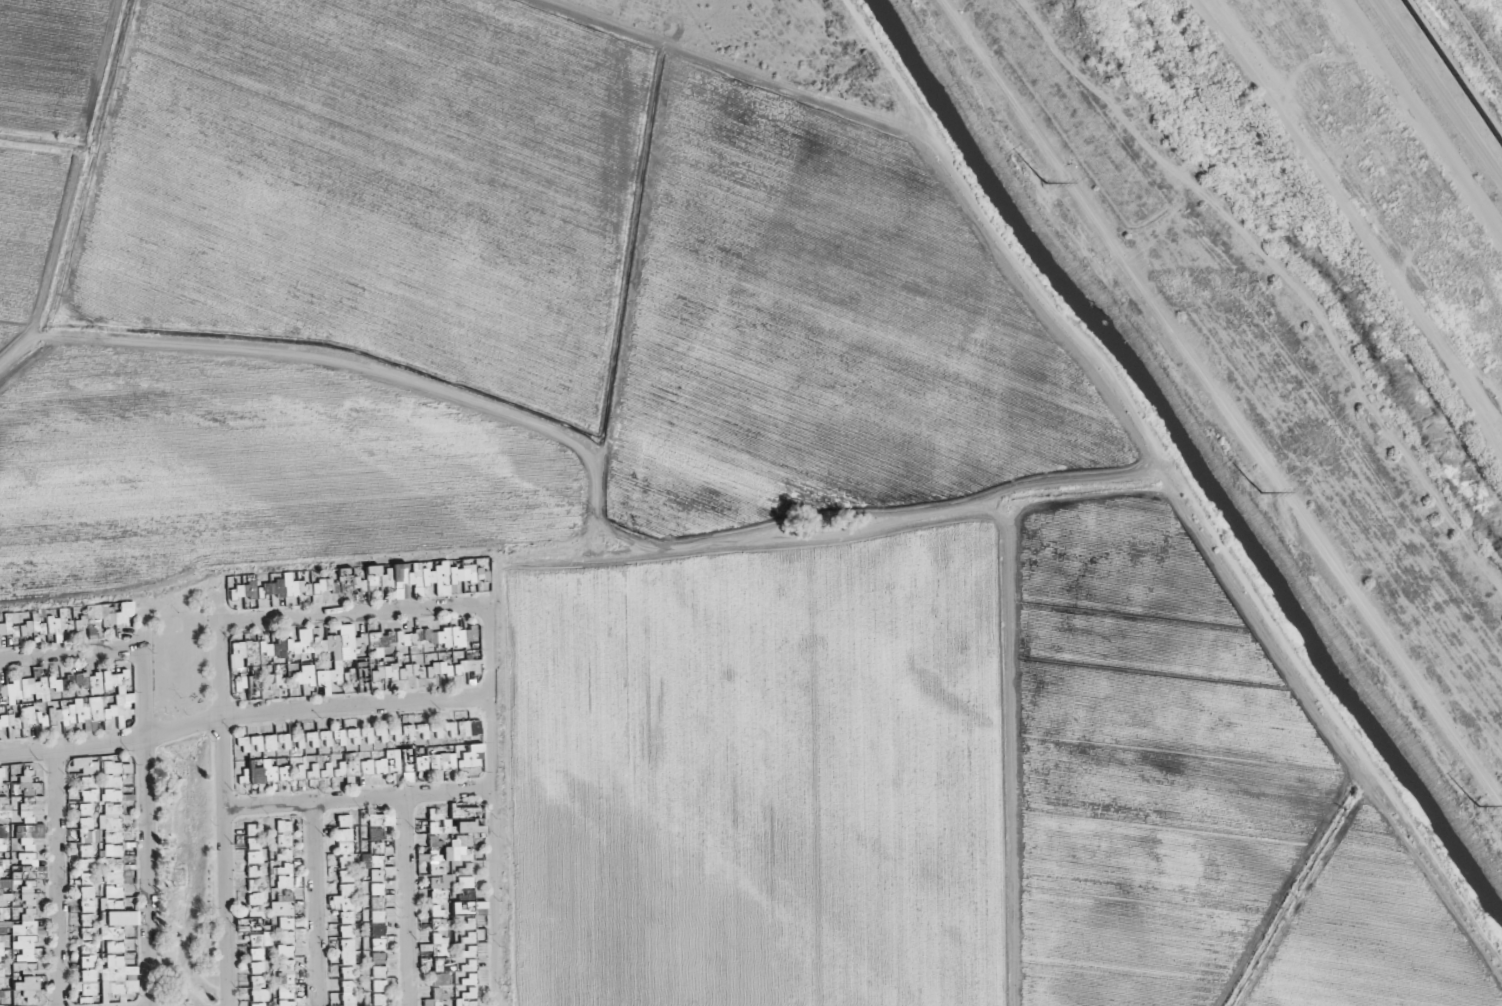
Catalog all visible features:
power tower: (1039, 182)
river: (1321, 251)
road: (1221, 405)
road: (596, 472)
road: (1175, 482)
power tower: (1252, 490)
building: (421, 576)
building: (378, 581)
road: (353, 616)
building: (433, 643)
road: (72, 657)
building: (387, 673)
road: (243, 717)
building: (471, 760)
road: (356, 801)
road: (223, 802)
power tower: (1470, 805)
road: (490, 810)
road: (145, 812)
road: (407, 902)
road: (317, 905)

